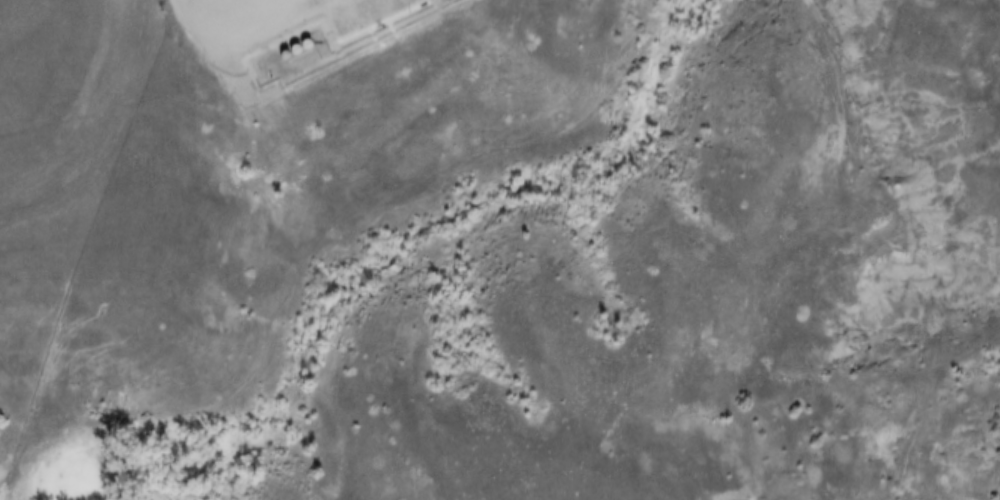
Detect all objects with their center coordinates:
road: (242, 17)

